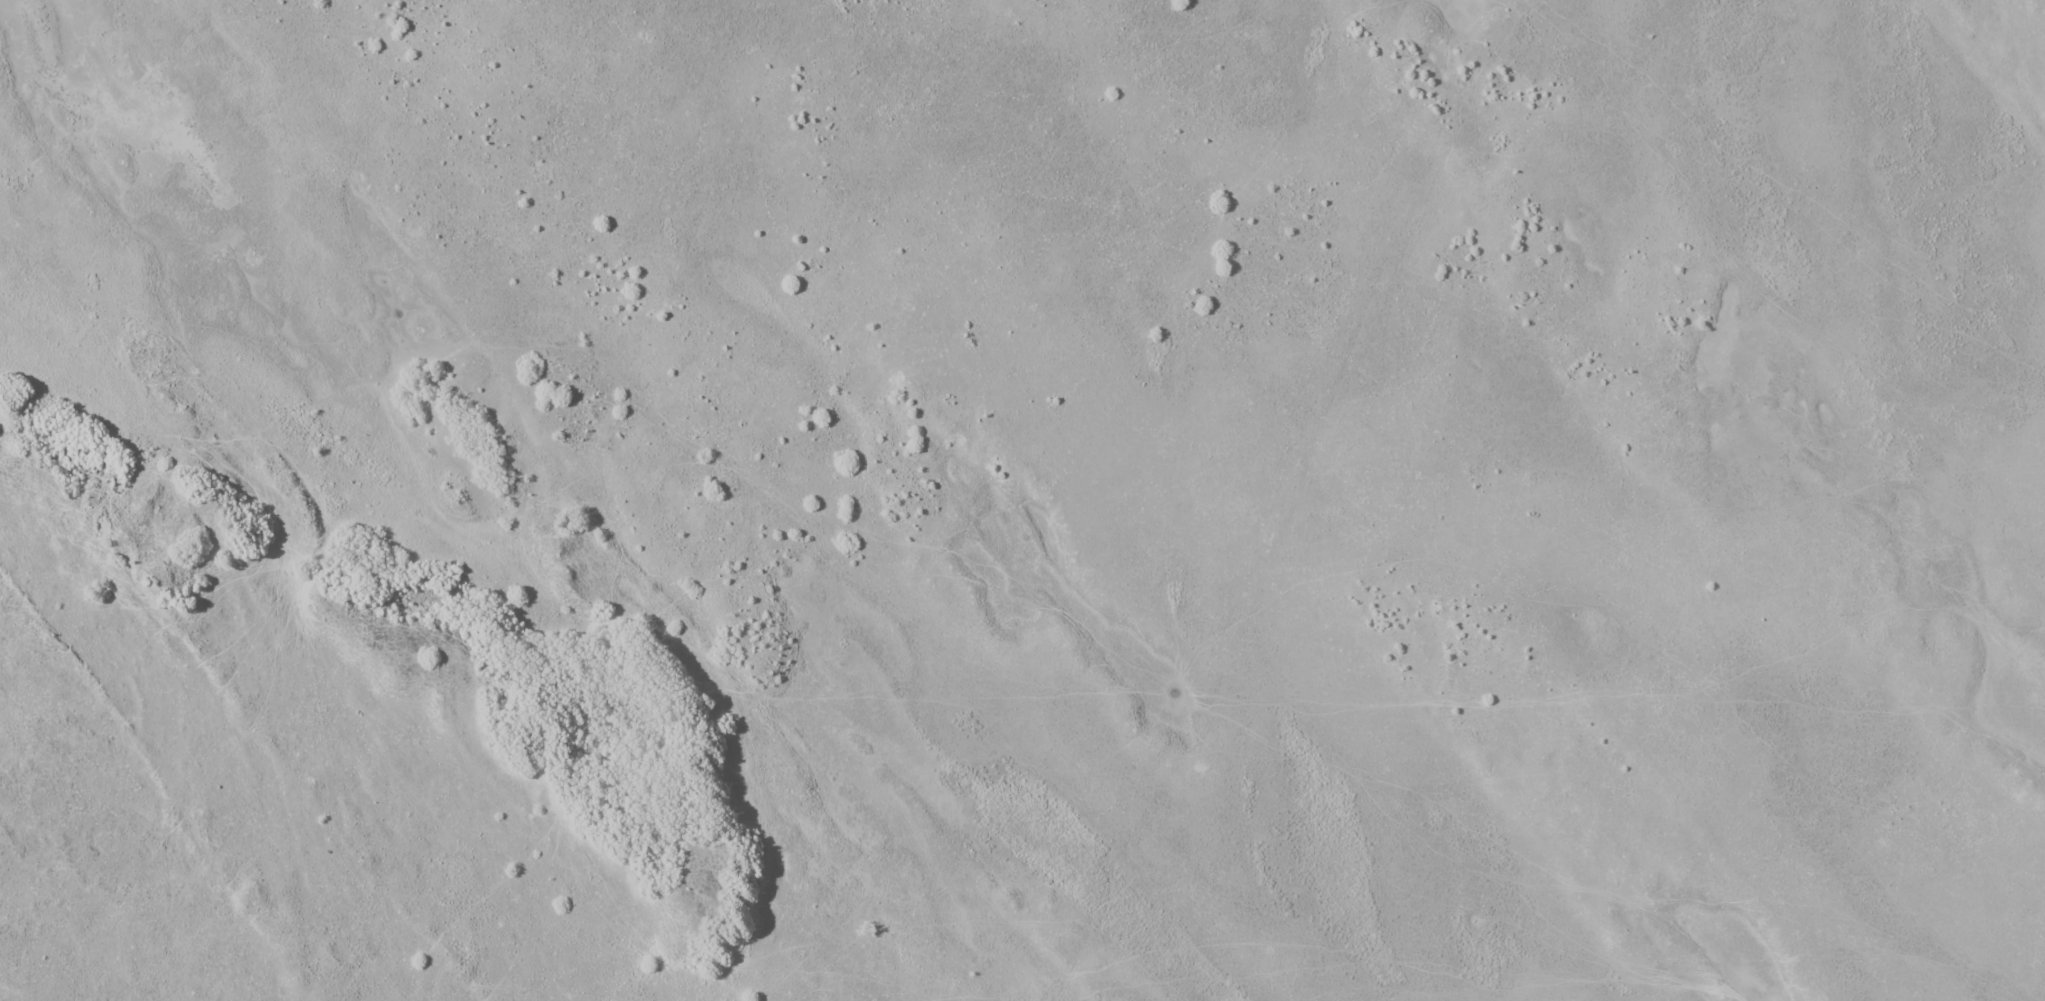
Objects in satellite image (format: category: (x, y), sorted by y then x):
road: (2020, 35)

